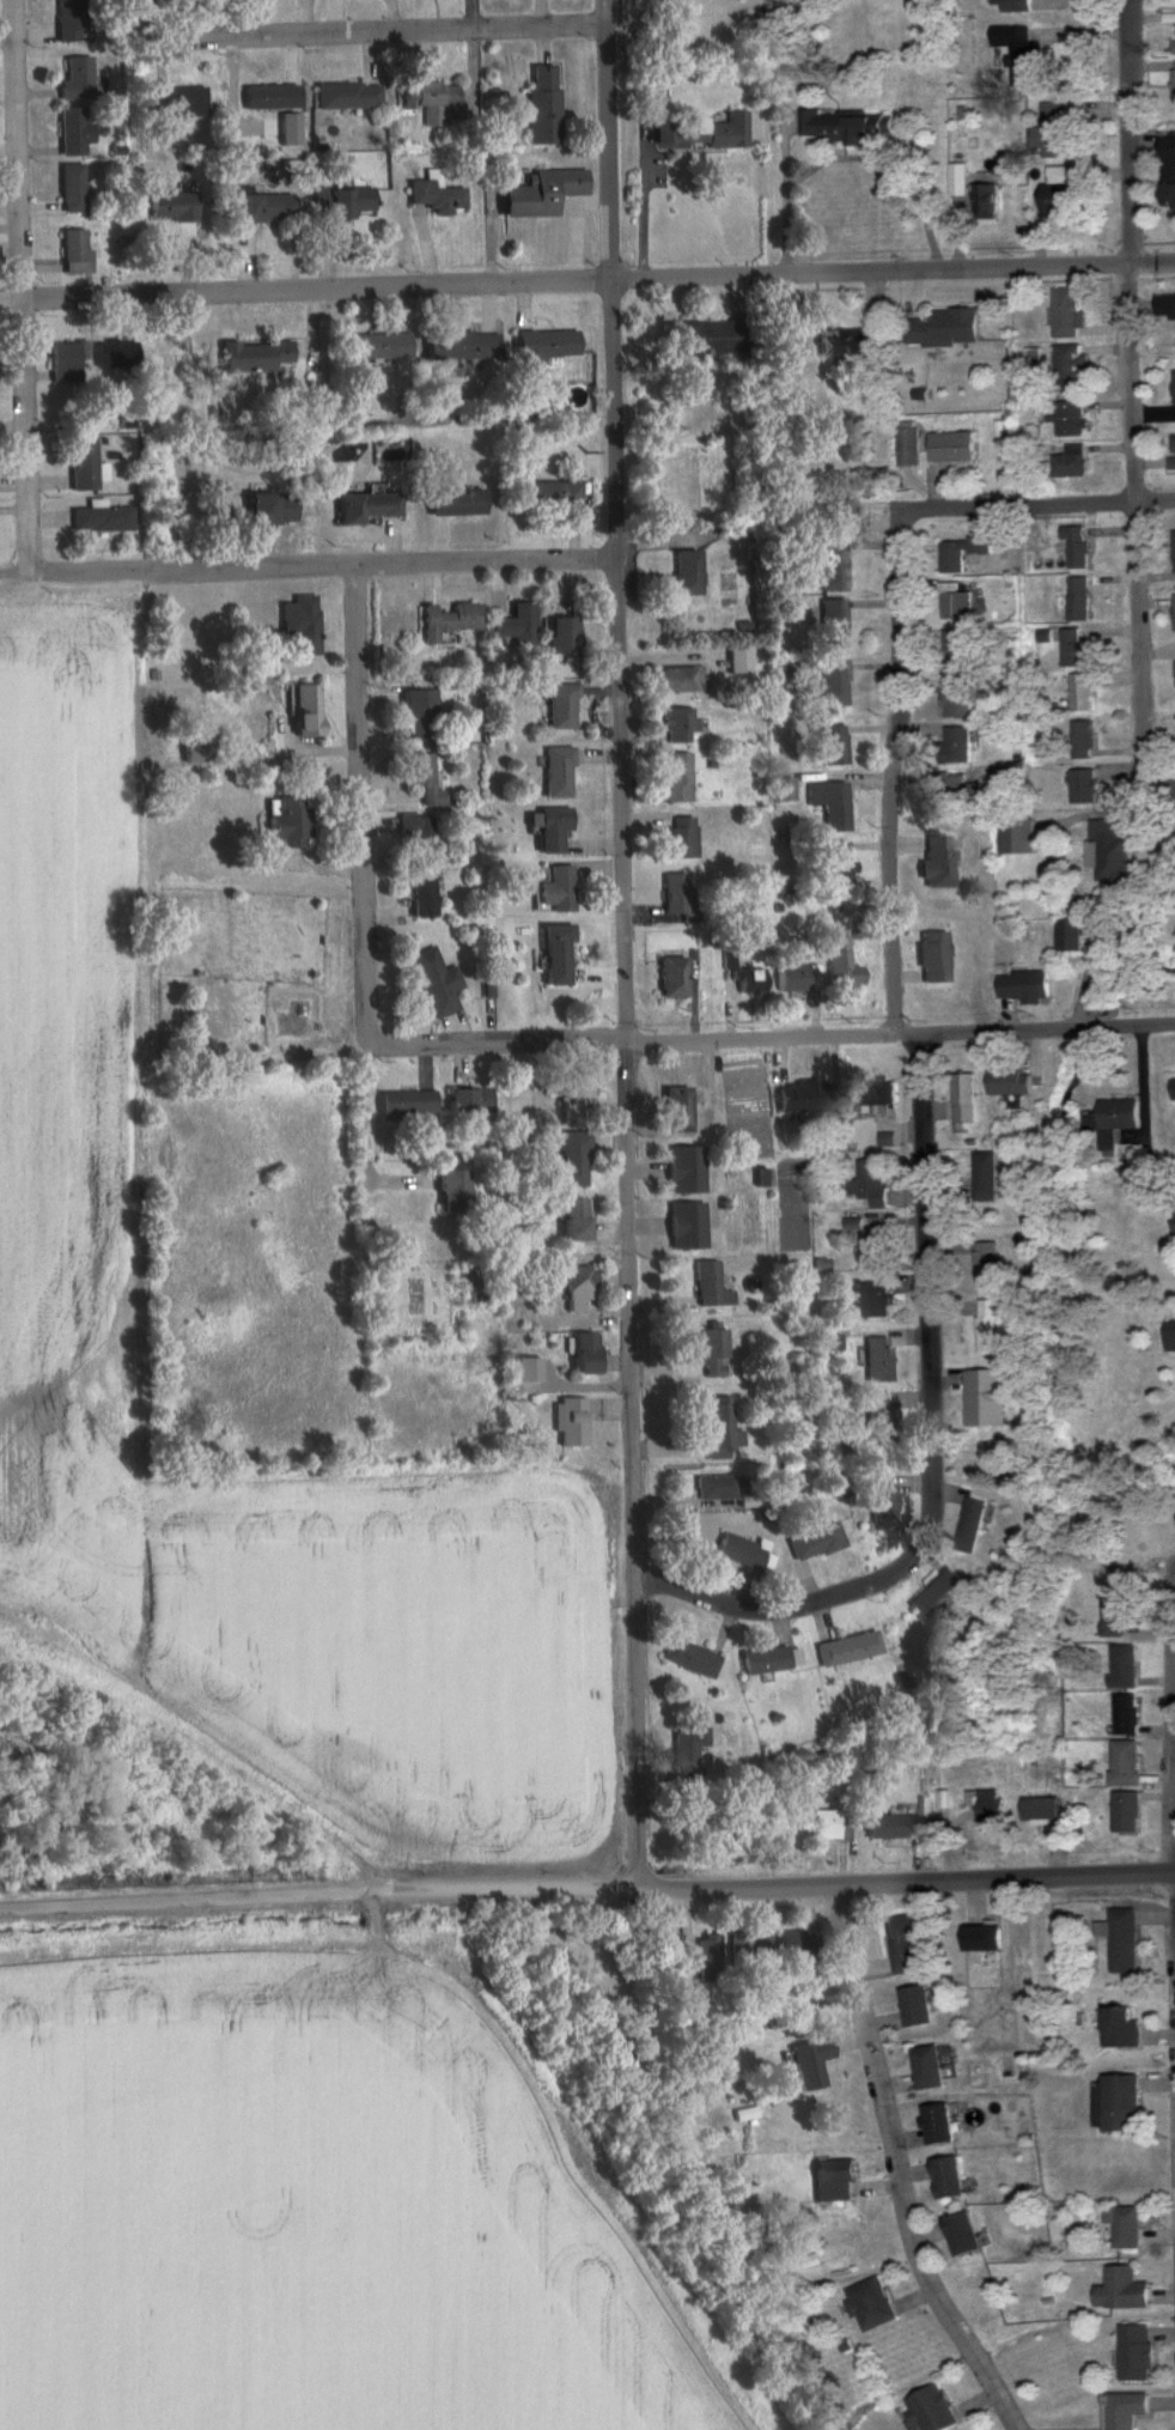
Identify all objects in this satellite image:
building: (1011, 6)
building: (68, 20)
road: (369, 34)
building: (1173, 48)
building: (1016, 50)
building: (78, 79)
building: (1173, 83)
building: (269, 97)
building: (348, 97)
building: (431, 99)
building: (181, 102)
building: (541, 105)
building: (846, 128)
building: (74, 132)
building: (700, 132)
building: (1053, 132)
road: (613, 140)
building: (1167, 172)
building: (957, 181)
building: (72, 188)
building: (1053, 192)
building: (538, 193)
building: (433, 198)
road: (785, 198)
building: (984, 199)
building: (347, 203)
building: (172, 207)
building: (258, 208)
building: (77, 253)
road: (1152, 261)
road: (872, 272)
road: (23, 286)
road: (319, 291)
building: (1165, 308)
building: (1065, 312)
building: (944, 328)
building: (701, 339)
building: (844, 344)
building: (463, 345)
building: (543, 345)
building: (376, 346)
building: (115, 356)
building: (251, 357)
building: (63, 363)
building: (1067, 369)
building: (1174, 389)
road: (1130, 391)
building: (1066, 418)
building: (908, 444)
building: (950, 448)
building: (1171, 452)
building: (1067, 461)
building: (85, 466)
building: (549, 497)
building: (452, 503)
building: (361, 508)
road: (1037, 508)
building: (267, 510)
building: (102, 518)
building: (1074, 547)
building: (1173, 547)
building: (960, 553)
road: (310, 565)
building: (830, 565)
building: (684, 575)
building: (1077, 599)
building: (952, 603)
building: (1174, 614)
building: (448, 620)
building: (832, 625)
building: (300, 626)
building: (515, 626)
building: (561, 637)
building: (954, 648)
building: (1072, 650)
building: (735, 661)
building: (671, 681)
building: (833, 682)
building: (1078, 693)
building: (958, 697)
building: (559, 707)
building: (302, 711)
building: (418, 716)
building: (677, 724)
building: (1080, 740)
building: (832, 745)
building: (955, 745)
building: (555, 772)
building: (675, 778)
building: (421, 779)
road: (1162, 783)
building: (1082, 786)
building: (781, 790)
building: (951, 790)
road: (360, 801)
building: (830, 804)
building: (284, 822)
building: (548, 830)
building: (681, 838)
building: (1016, 838)
building: (415, 840)
building: (1104, 850)
building: (934, 862)
building: (835, 864)
building: (558, 889)
building: (674, 894)
building: (420, 899)
park: (1157, 903)
building: (1069, 936)
building: (553, 955)
building: (932, 959)
building: (840, 967)
building: (670, 978)
building: (797, 978)
building: (753, 982)
building: (434, 983)
building: (1022, 986)
road: (901, 1025)
road: (772, 1035)
road: (627, 1081)
building: (1006, 1083)
building: (574, 1088)
building: (1171, 1088)
building: (877, 1092)
building: (799, 1098)
building: (467, 1101)
building: (961, 1101)
building: (404, 1102)
building: (671, 1110)
building: (1114, 1120)
road: (364, 1134)
building: (571, 1156)
building: (682, 1170)
building: (984, 1178)
building: (869, 1183)
building: (450, 1187)
building: (568, 1219)
building: (1173, 1220)
building: (683, 1226)
building: (871, 1246)
building: (986, 1264)
building: (707, 1287)
crop: (75, 1294)
building: (870, 1300)
building: (997, 1326)
building: (1169, 1335)
building: (710, 1351)
building: (580, 1354)
building: (877, 1360)
building: (993, 1391)
building: (878, 1414)
building: (568, 1422)
building: (716, 1429)
building: (717, 1489)
building: (882, 1499)
building: (970, 1526)
building: (816, 1542)
building: (739, 1551)
building: (934, 1593)
road: (783, 1609)
building: (846, 1650)
building: (690, 1659)
building: (763, 1660)
building: (1121, 1667)
building: (1125, 1715)
building: (7, 1751)
building: (683, 1758)
building: (1124, 1763)
building: (986, 1806)
building: (1040, 1810)
building: (1126, 1812)
building: (897, 1824)
building: (823, 1825)
road: (906, 1876)
road: (501, 1887)
road: (183, 1899)
building: (980, 1938)
building: (1121, 1939)
building: (747, 1945)
building: (901, 1945)
building: (795, 1948)
building: (706, 1957)
building: (913, 2007)
building: (1119, 2028)
building: (808, 2064)
building: (925, 2068)
building: (1119, 2104)
building: (744, 2115)
building: (936, 2125)
road: (895, 2164)
building: (945, 2177)
building: (833, 2181)
crop: (306, 2212)
building: (1125, 2229)
building: (960, 2234)
building: (808, 2261)
building: (1120, 2290)
building: (867, 2304)
building: (1134, 2352)
building: (929, 2410)
building: (1124, 2410)

